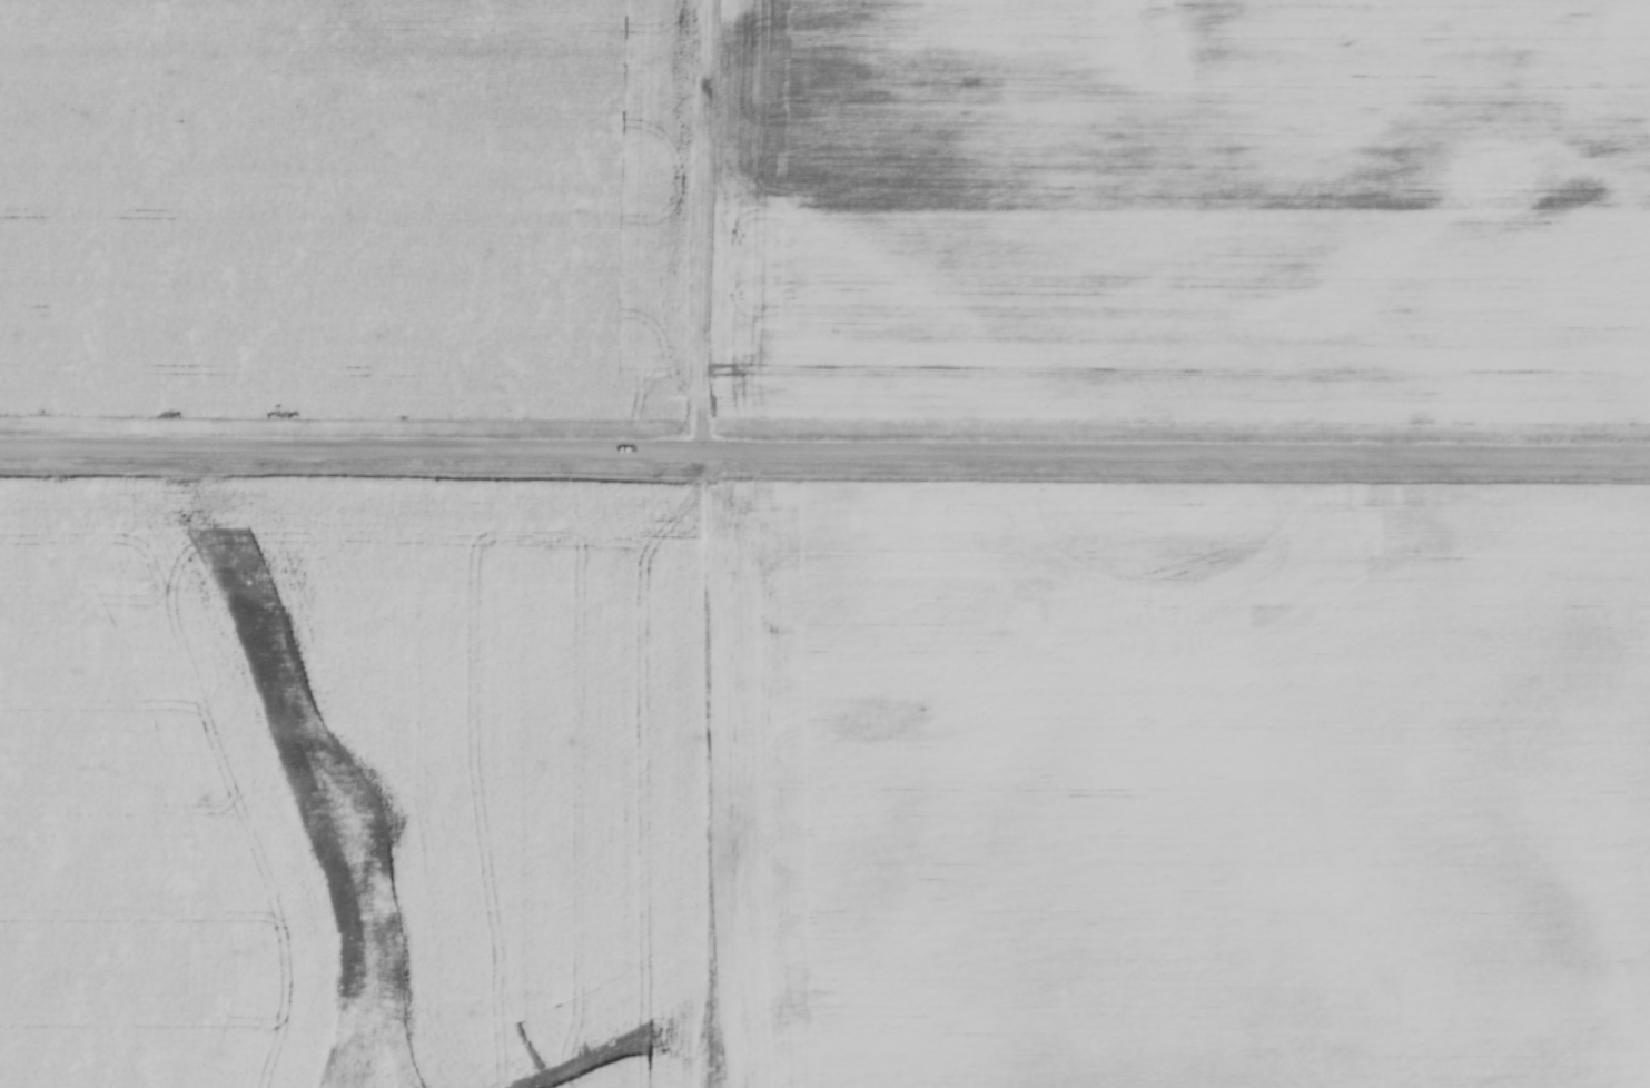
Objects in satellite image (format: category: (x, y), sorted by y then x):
road: (824, 448)

